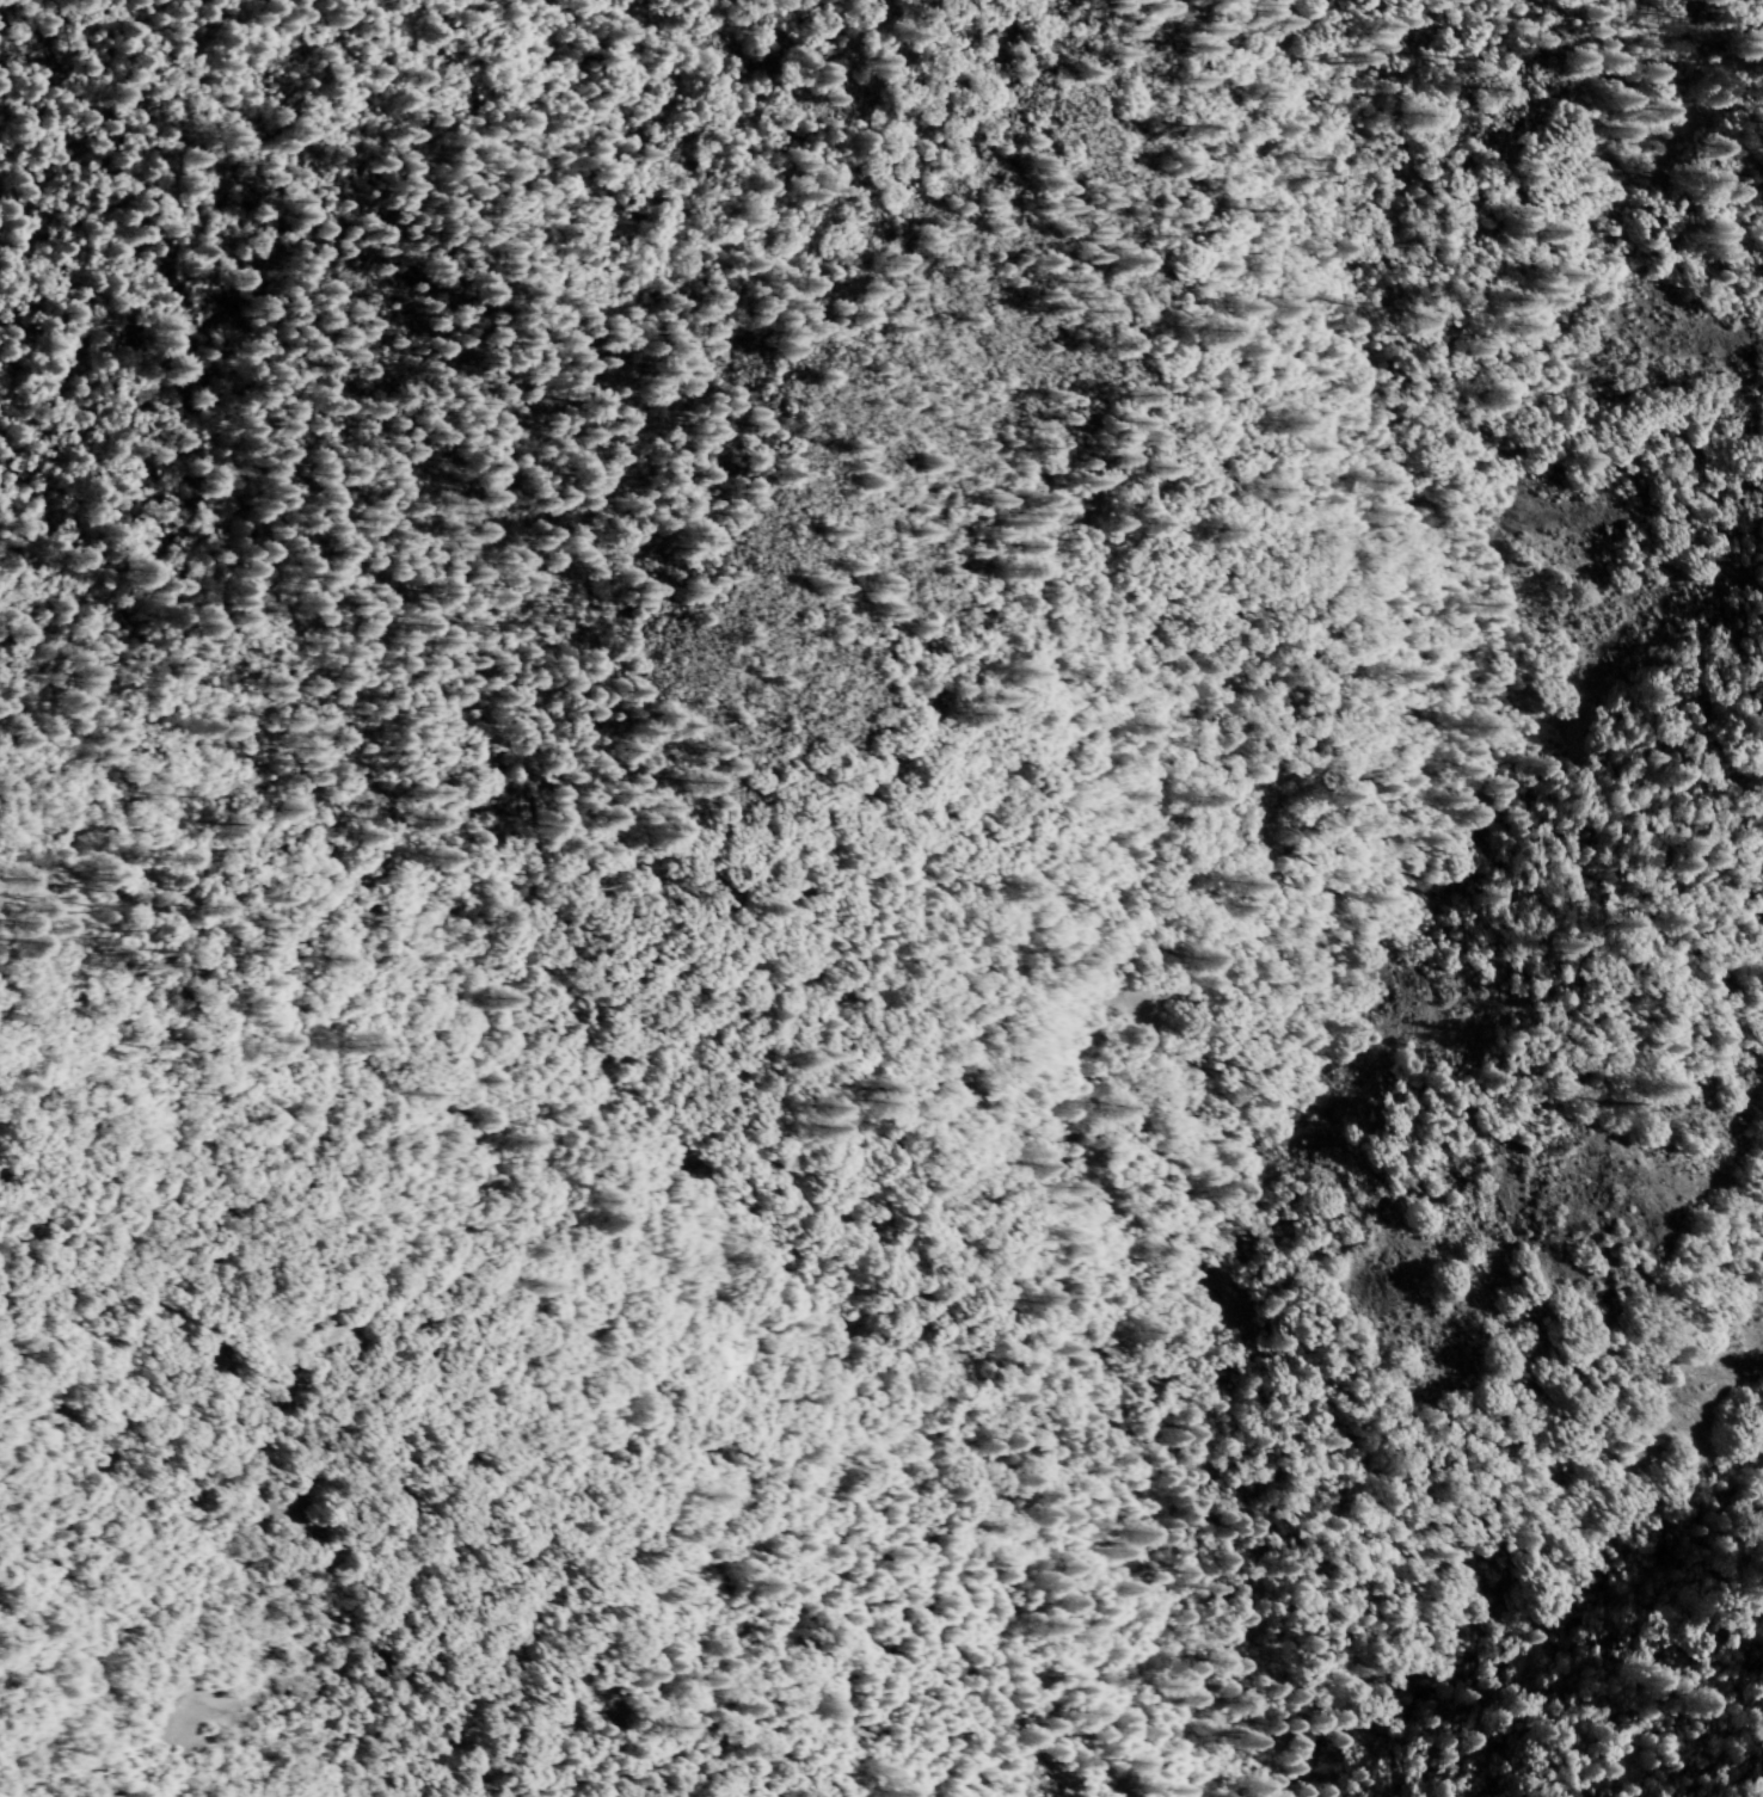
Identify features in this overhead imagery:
park: (19, 29)
park: (892, 1448)
park: (150, 1731)

